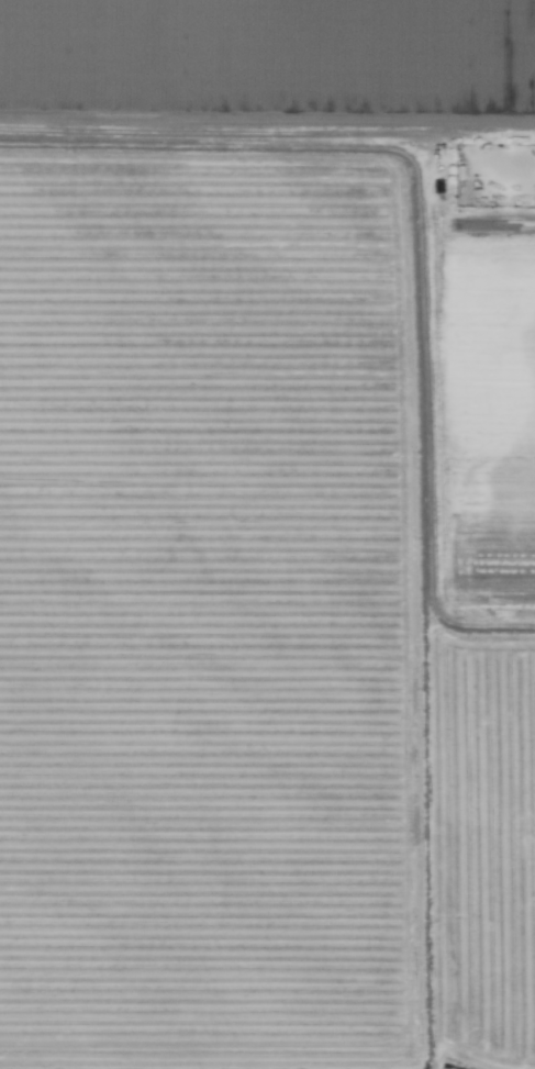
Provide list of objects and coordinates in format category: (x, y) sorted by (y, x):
road: (267, 131)

